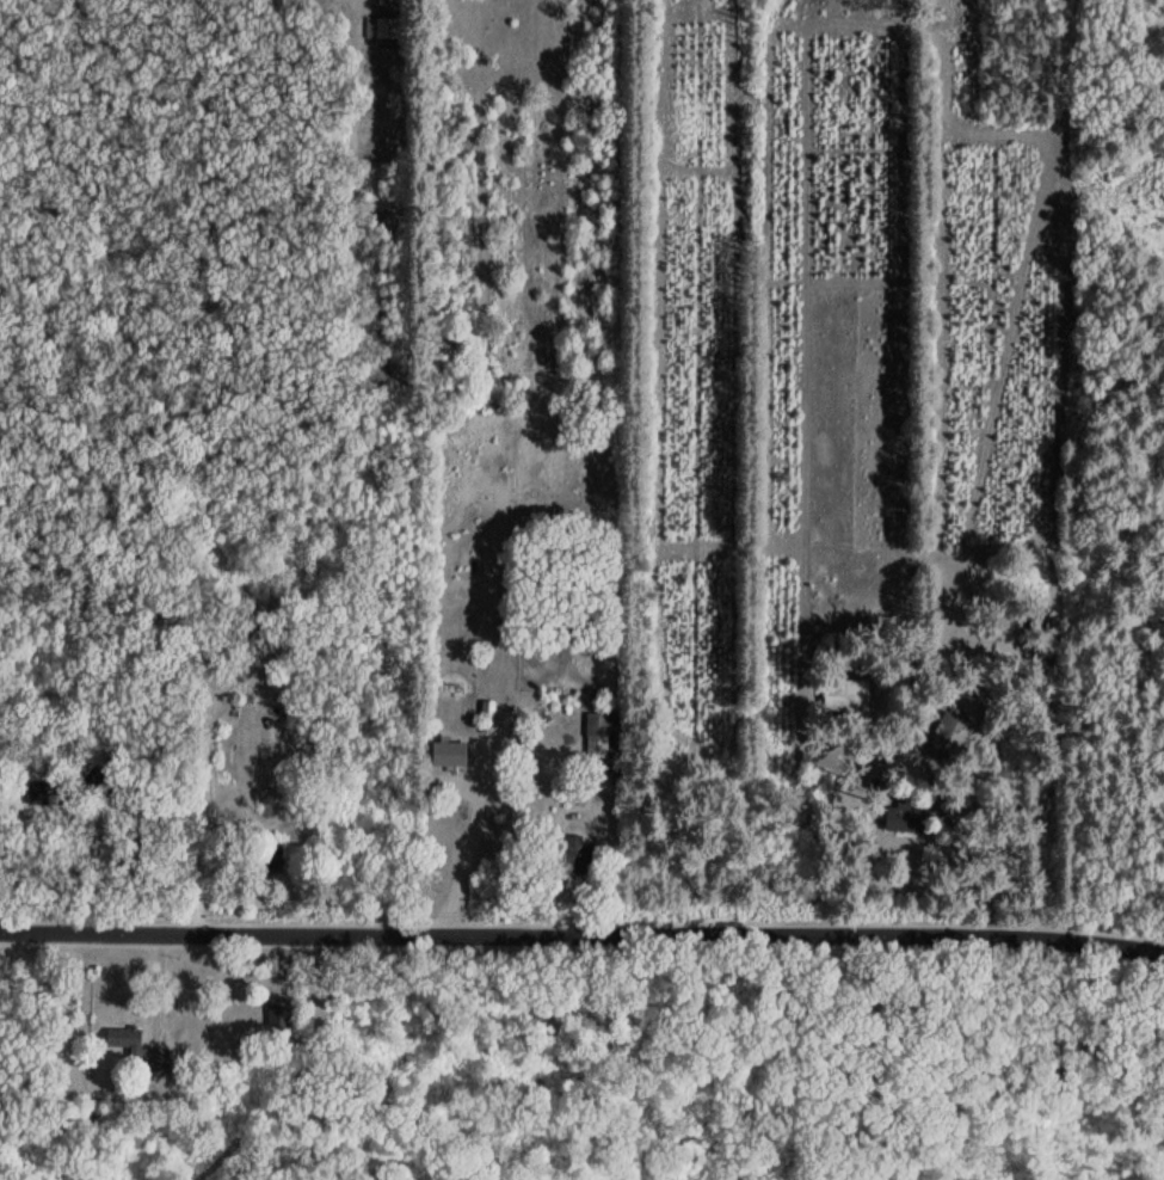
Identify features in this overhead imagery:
road: (381, 6)
building: (384, 32)
building: (257, 640)
building: (848, 694)
building: (598, 735)
building: (950, 735)
building: (450, 754)
road: (204, 774)
building: (99, 785)
building: (51, 793)
building: (906, 818)
road: (470, 855)
building: (580, 856)
road: (583, 921)
building: (281, 1013)
building: (141, 1050)

